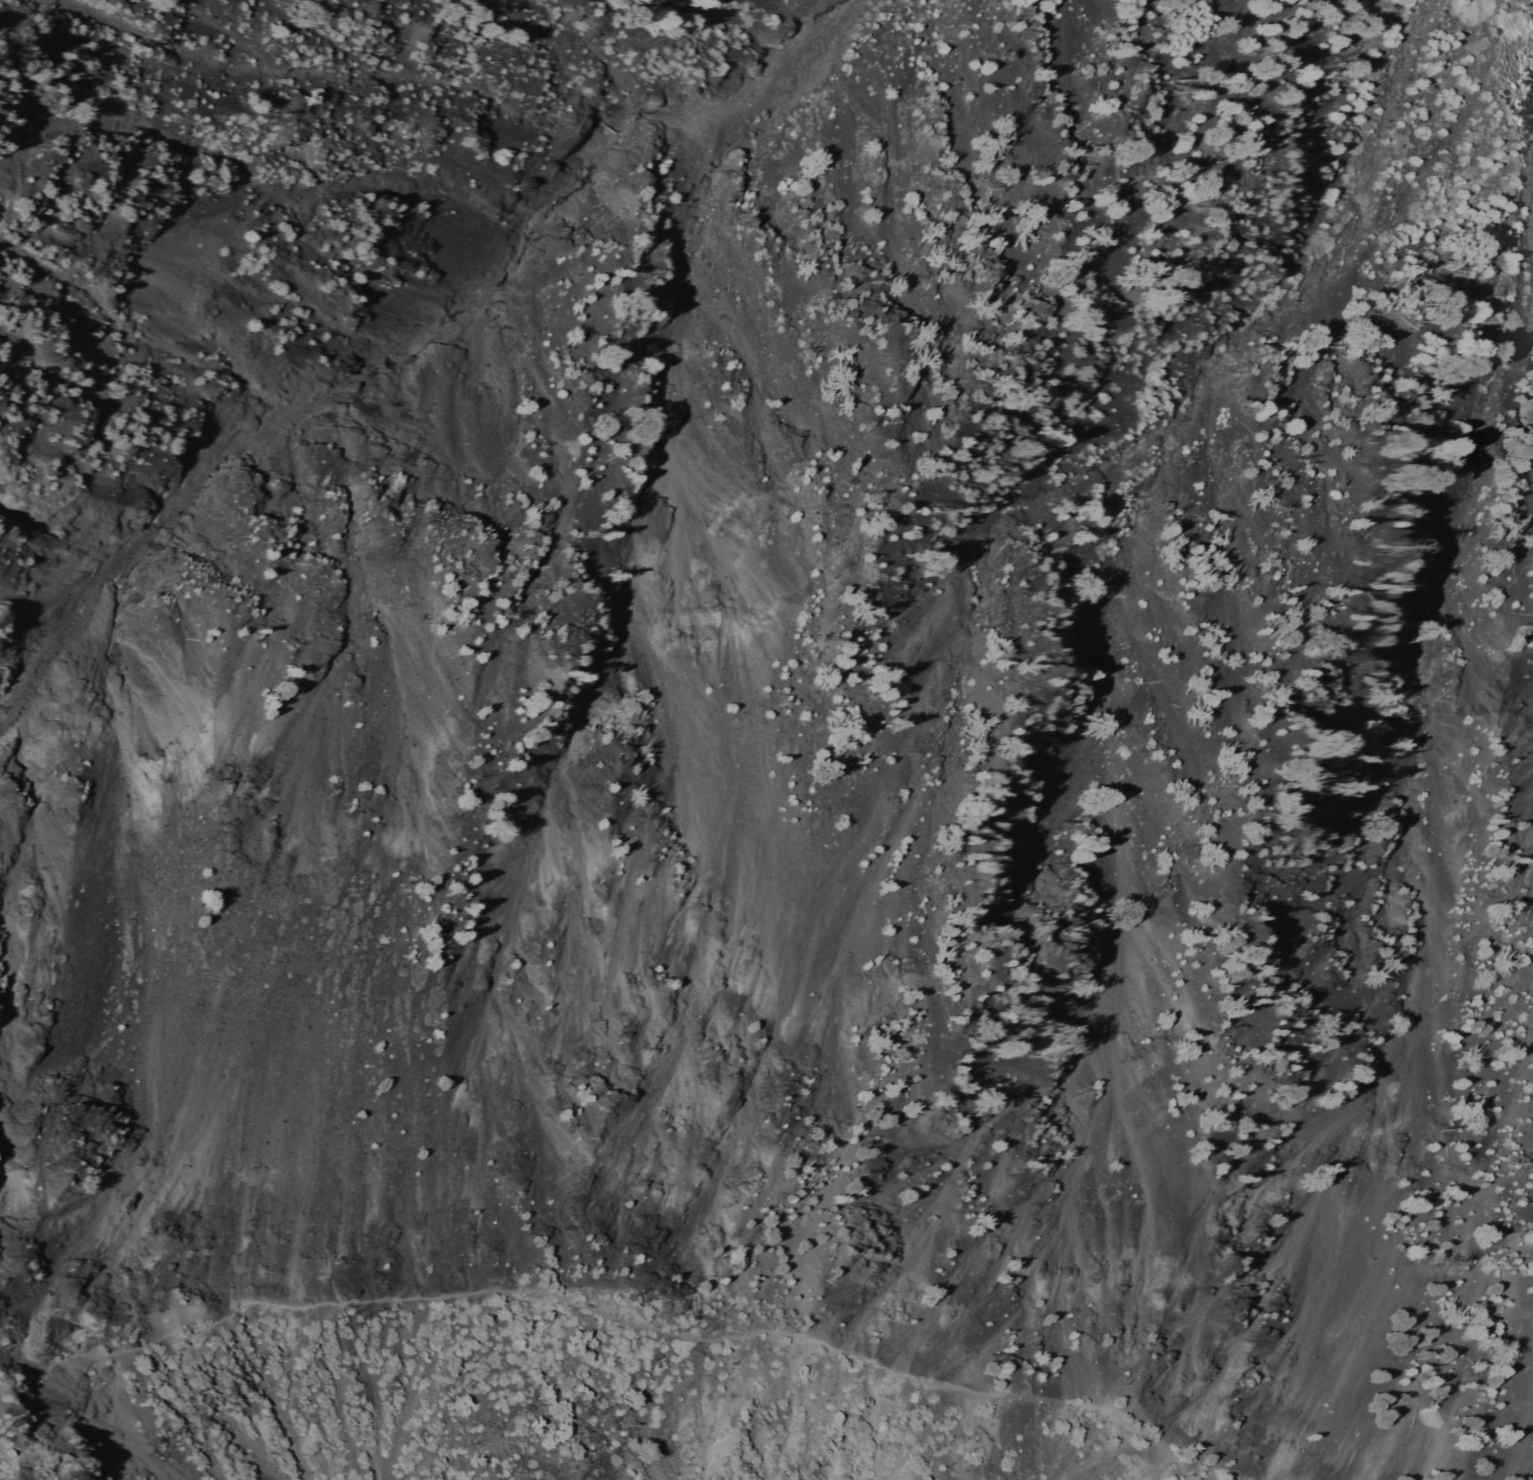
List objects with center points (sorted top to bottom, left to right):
road: (569, 1301)

